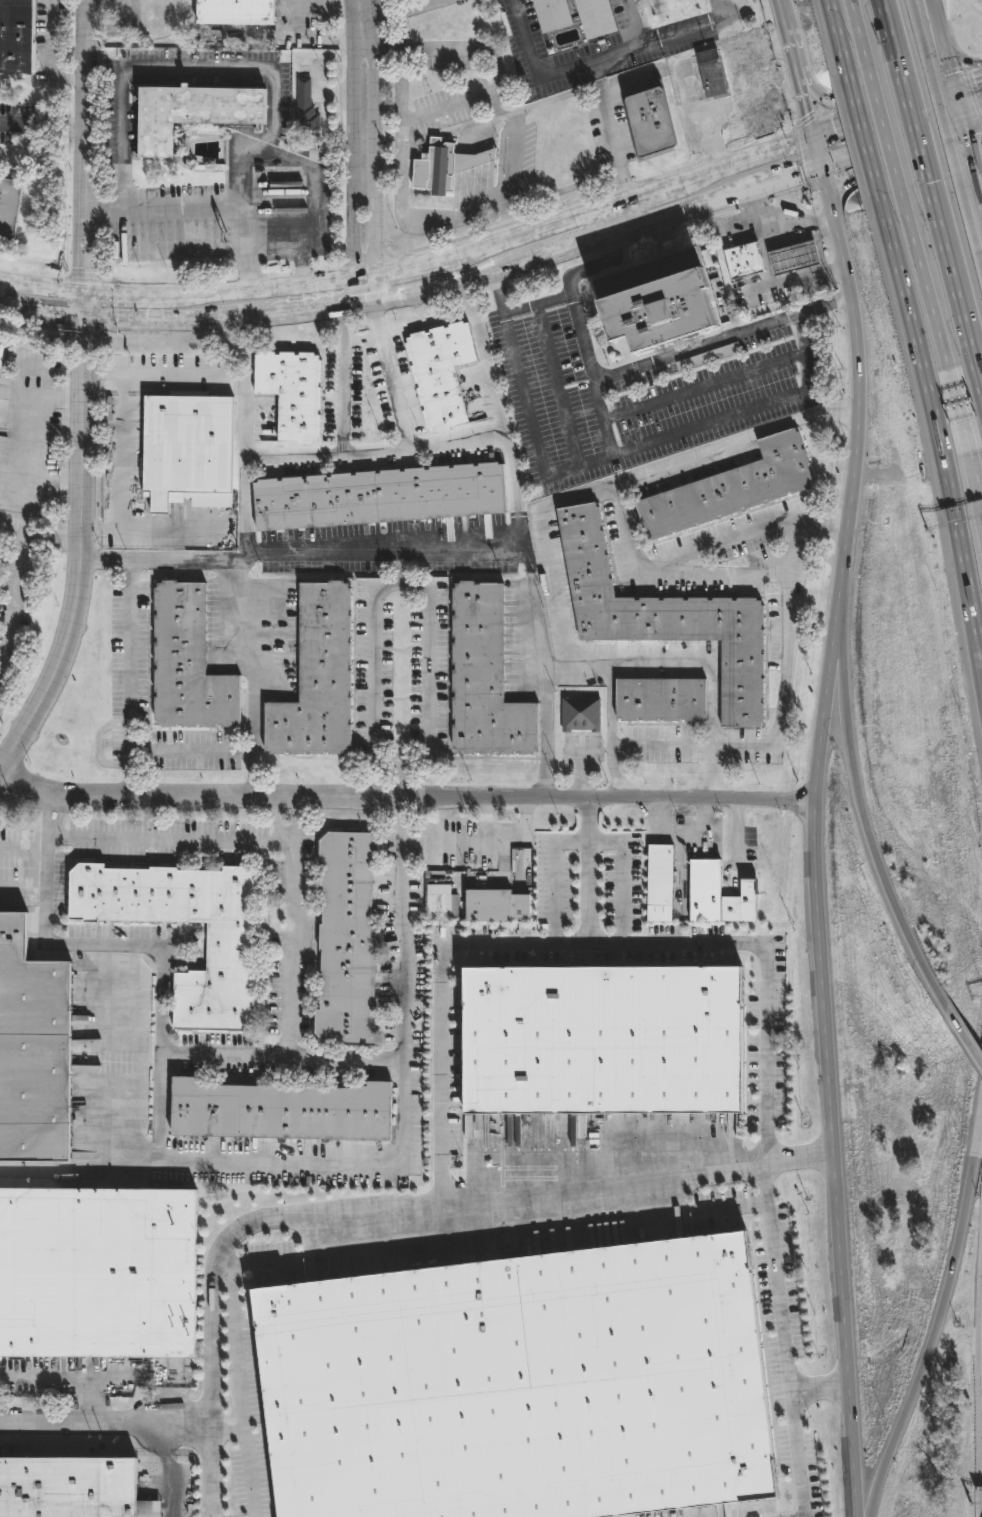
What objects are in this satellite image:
building: (673, 8)
building: (234, 12)
road: (332, 12)
road: (778, 12)
building: (551, 14)
building: (595, 17)
road: (364, 21)
road: (633, 23)
road: (886, 28)
road: (857, 32)
building: (15, 35)
road: (836, 35)
road: (46, 38)
road: (939, 43)
road: (306, 44)
road: (379, 44)
road: (789, 52)
road: (604, 59)
road: (946, 59)
road: (956, 59)
road: (167, 66)
road: (351, 68)
road: (374, 68)
building: (710, 74)
road: (67, 78)
road: (750, 81)
traffic signals: (975, 83)
building: (749, 84)
road: (398, 85)
road: (965, 85)
road: (891, 87)
road: (811, 92)
road: (321, 97)
road: (550, 101)
road: (449, 105)
building: (305, 109)
road: (804, 109)
road: (895, 109)
building: (190, 114)
traffic signals: (806, 116)
road: (969, 116)
road: (734, 117)
building: (650, 123)
traffic signals: (937, 128)
traffic signals: (833, 130)
road: (947, 131)
road: (826, 132)
road: (914, 132)
traffic signals: (968, 138)
road: (886, 139)
road: (902, 140)
road: (609, 145)
road: (865, 146)
road: (939, 153)
road: (972, 156)
road: (742, 158)
building: (470, 162)
building: (434, 169)
road: (807, 172)
road: (509, 175)
traffic signals: (796, 176)
road: (375, 184)
road: (351, 188)
road: (649, 189)
road: (838, 191)
road: (313, 202)
road: (222, 206)
building: (8, 209)
road: (687, 211)
road: (103, 212)
road: (615, 217)
road: (528, 225)
road: (773, 235)
road: (241, 247)
road: (270, 256)
building: (792, 258)
gas station: (792, 258)
road: (402, 262)
building: (743, 262)
road: (592, 268)
road: (785, 281)
road: (952, 282)
road: (374, 288)
traffic signals: (82, 289)
road: (186, 291)
road: (493, 291)
road: (926, 292)
building: (654, 299)
road: (554, 301)
road: (519, 310)
road: (308, 316)
traffic signals: (85, 324)
road: (681, 351)
road: (153, 374)
building: (440, 374)
road: (976, 378)
road: (557, 387)
road: (706, 389)
road: (83, 393)
parking lot: (626, 393)
building: (290, 394)
road: (400, 411)
road: (957, 411)
toll booth: (958, 412)
road: (23, 417)
road: (604, 418)
road: (502, 429)
road: (938, 437)
road: (457, 443)
building: (187, 453)
road: (297, 453)
road: (629, 453)
road: (975, 479)
road: (624, 484)
building: (728, 491)
road: (47, 498)
building: (378, 499)
road: (566, 499)
road: (124, 500)
road: (244, 507)
road: (102, 530)
road: (533, 538)
road: (721, 541)
road: (40, 543)
road: (302, 553)
road: (12, 608)
building: (665, 619)
road: (838, 644)
road: (783, 661)
road: (618, 663)
building: (186, 665)
road: (252, 676)
road: (128, 677)
building: (484, 678)
building: (315, 680)
road: (546, 686)
building: (660, 702)
building: (580, 716)
road: (610, 731)
road: (97, 746)
road: (661, 747)
road: (192, 753)
road: (379, 768)
road: (582, 772)
road: (401, 783)
road: (404, 794)
road: (484, 816)
road: (812, 823)
road: (737, 829)
road: (681, 834)
road: (510, 839)
road: (168, 840)
road: (588, 841)
parking lot: (481, 846)
road: (869, 846)
road: (16, 849)
parking lot: (620, 878)
building: (659, 884)
building: (704, 892)
building: (442, 903)
building: (740, 906)
building: (495, 907)
building: (346, 942)
road: (712, 943)
building: (227, 949)
road: (288, 980)
road: (440, 1007)
road: (108, 1021)
road: (964, 1037)
building: (601, 1039)
road: (222, 1052)
building: (32, 1053)
road: (141, 1108)
building: (280, 1113)
road: (799, 1158)
road: (233, 1163)
road: (84, 1174)
road: (731, 1210)
road: (355, 1220)
road: (227, 1263)
building: (97, 1275)
road: (945, 1291)
road: (782, 1344)
road: (237, 1359)
road: (62, 1381)
building: (519, 1386)
road: (818, 1388)
road: (83, 1422)
road: (191, 1424)
road: (230, 1431)
building: (70, 1488)
road: (873, 1496)

